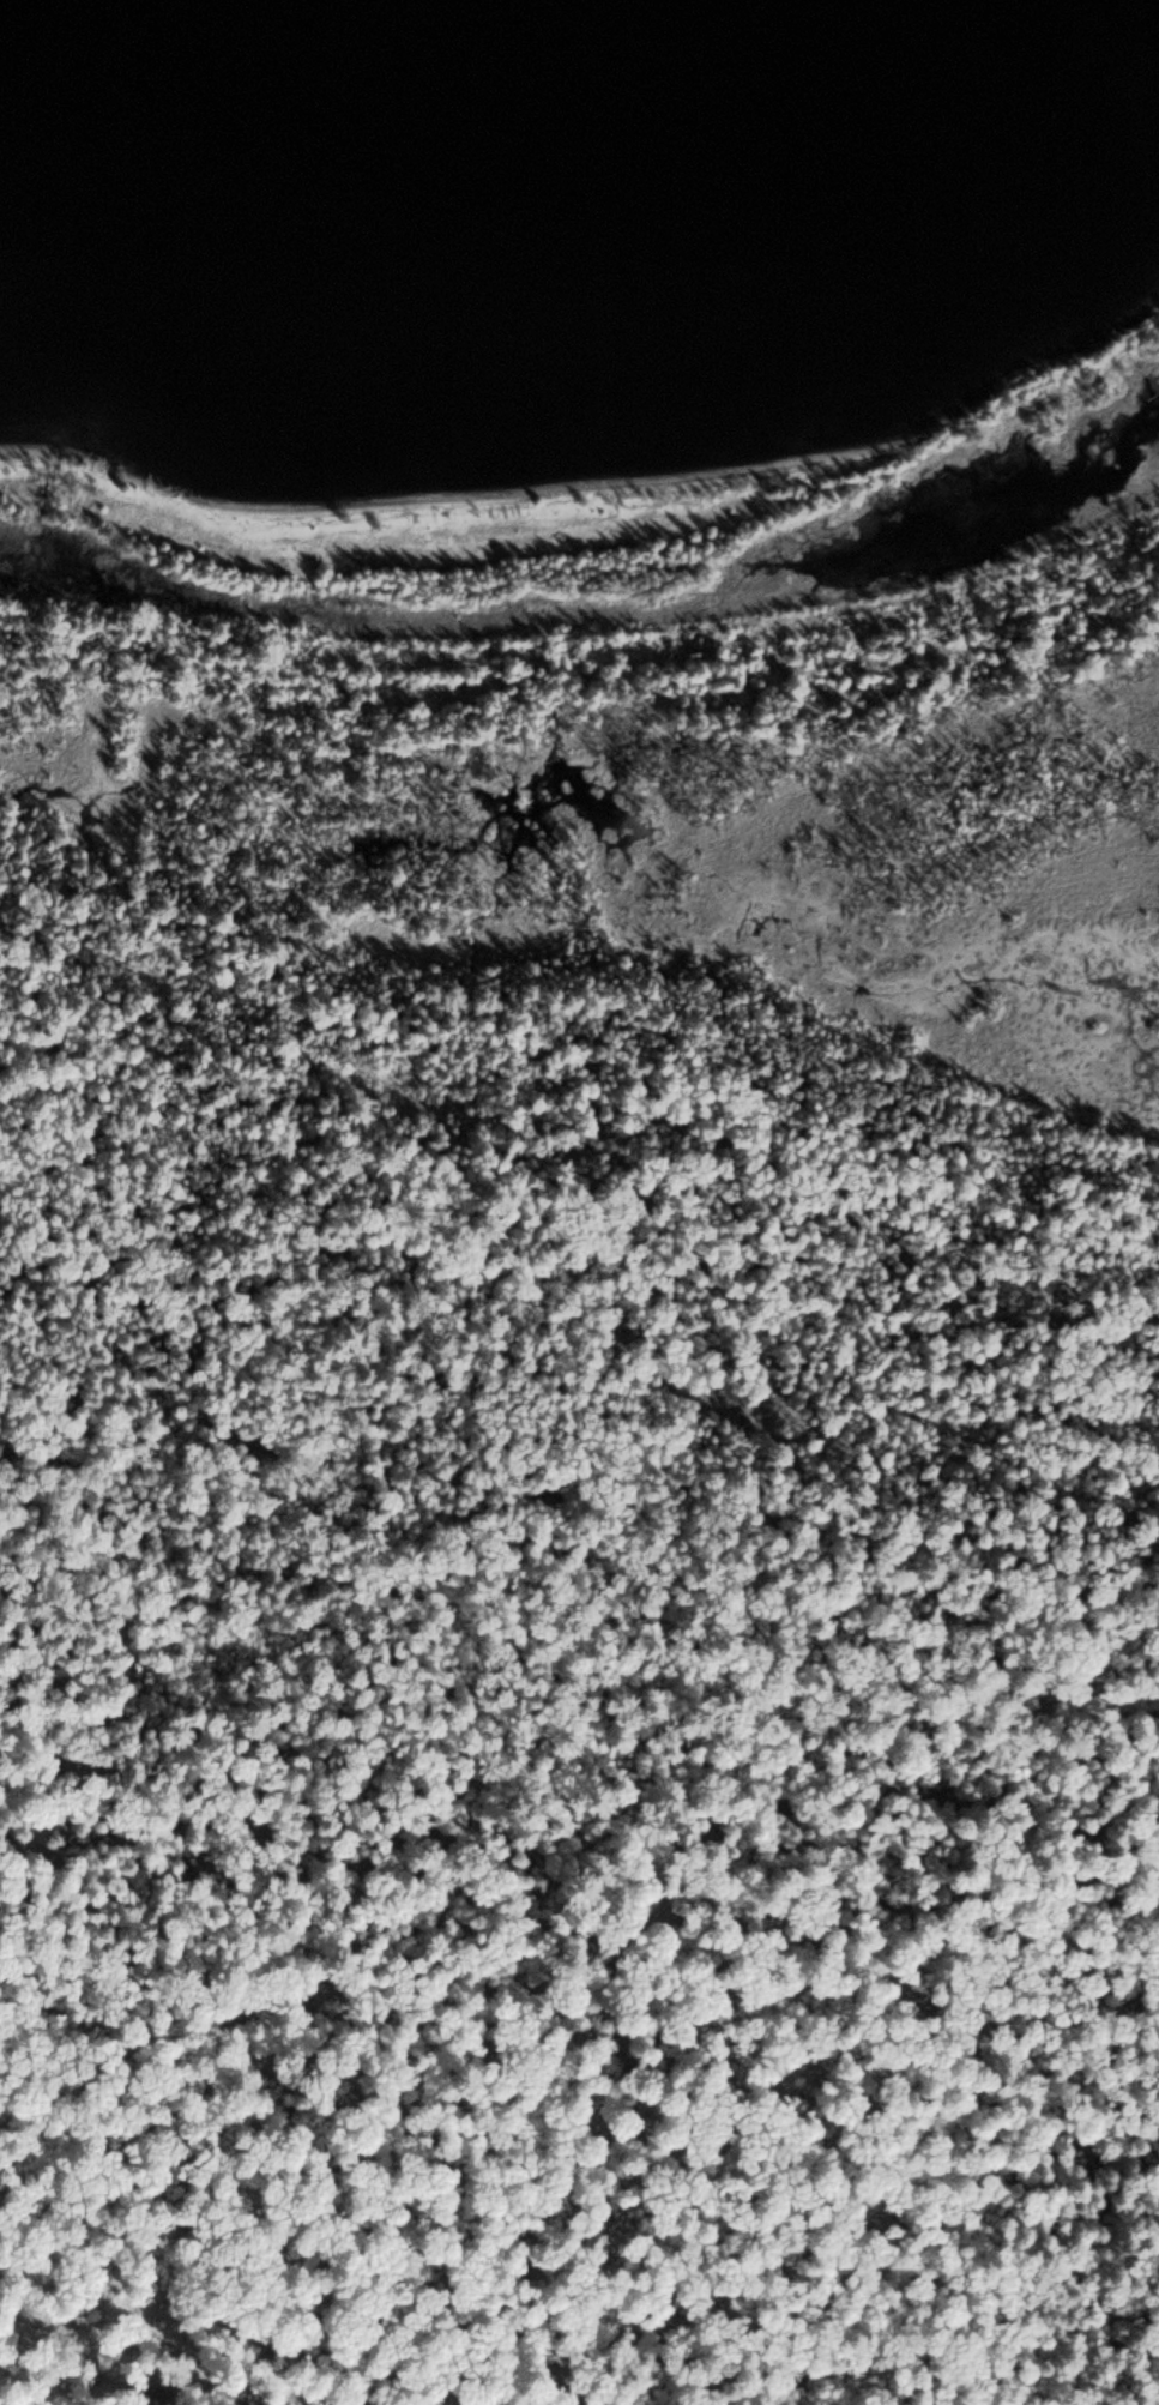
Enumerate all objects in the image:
road: (38, 2379)

